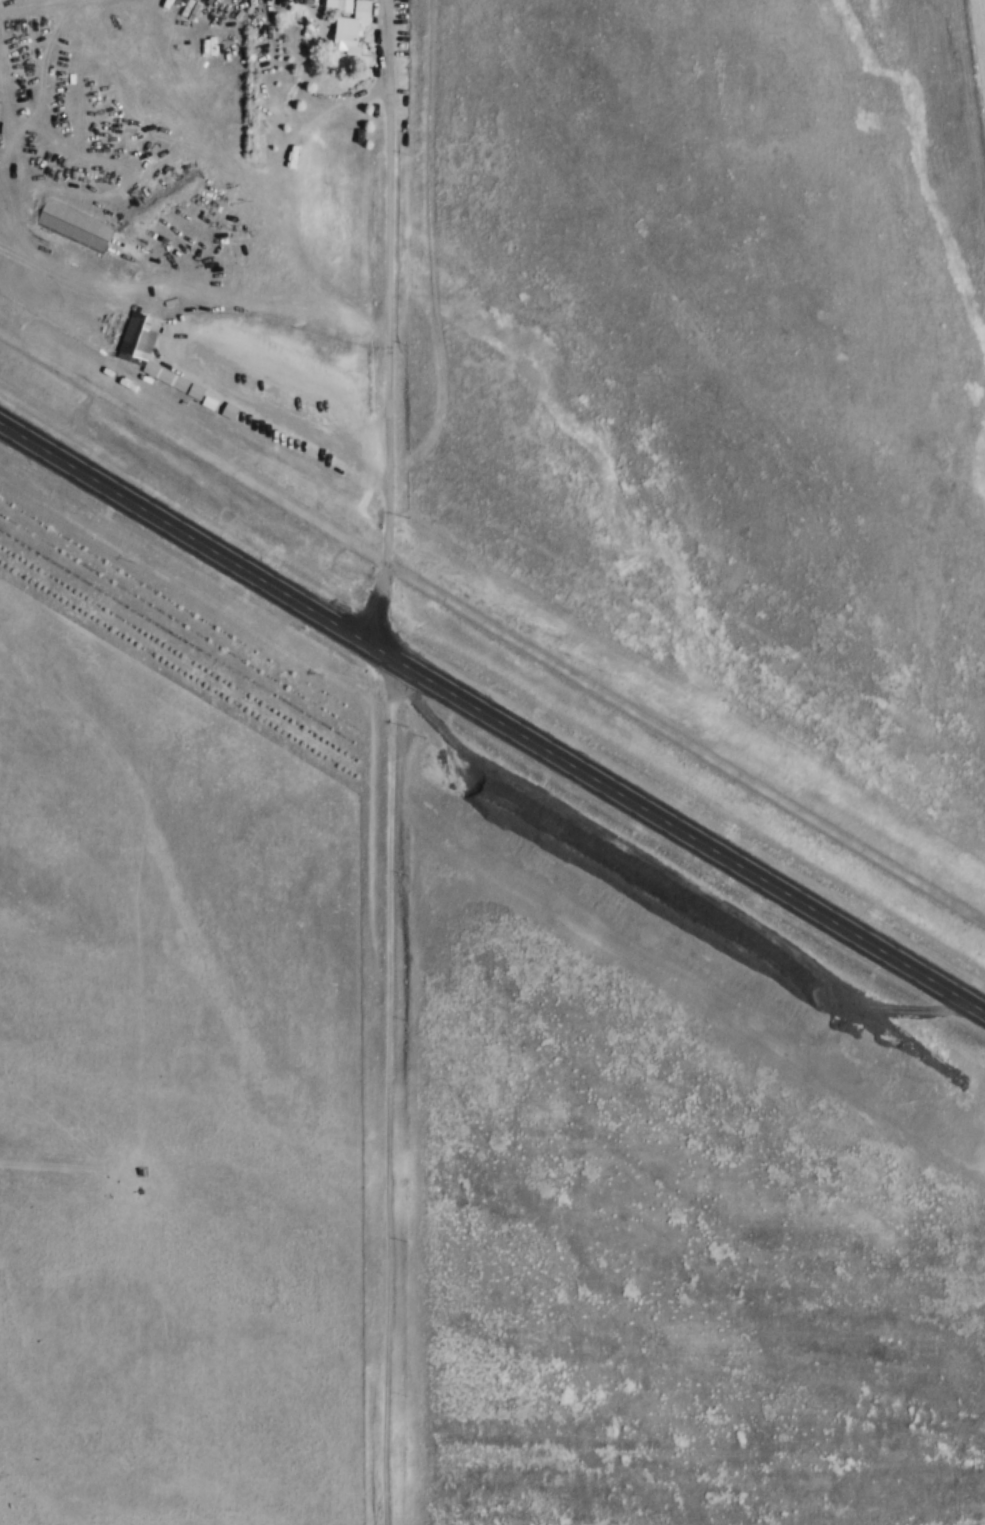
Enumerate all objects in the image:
building: (351, 30)
road: (391, 166)
building: (74, 226)
building: (138, 340)
building: (194, 394)
road: (388, 489)
road: (492, 624)
road: (492, 715)
road: (388, 1091)

